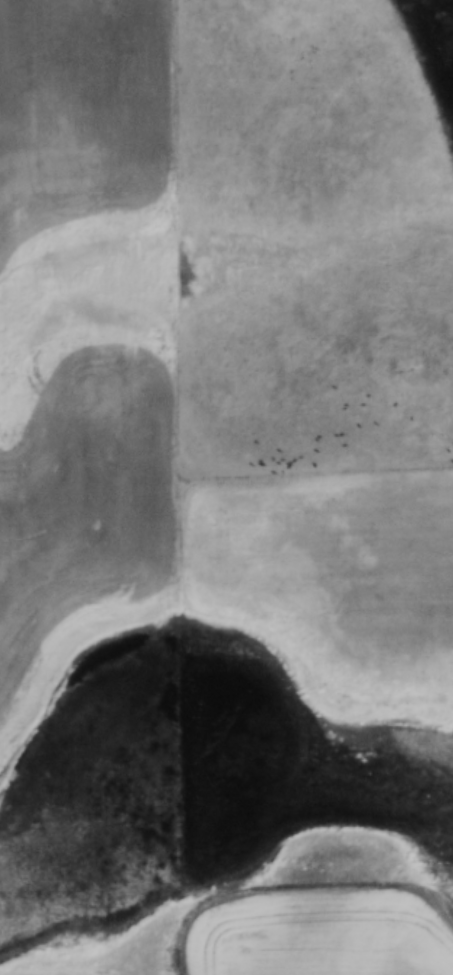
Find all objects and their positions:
road: (168, 390)
road: (92, 955)

